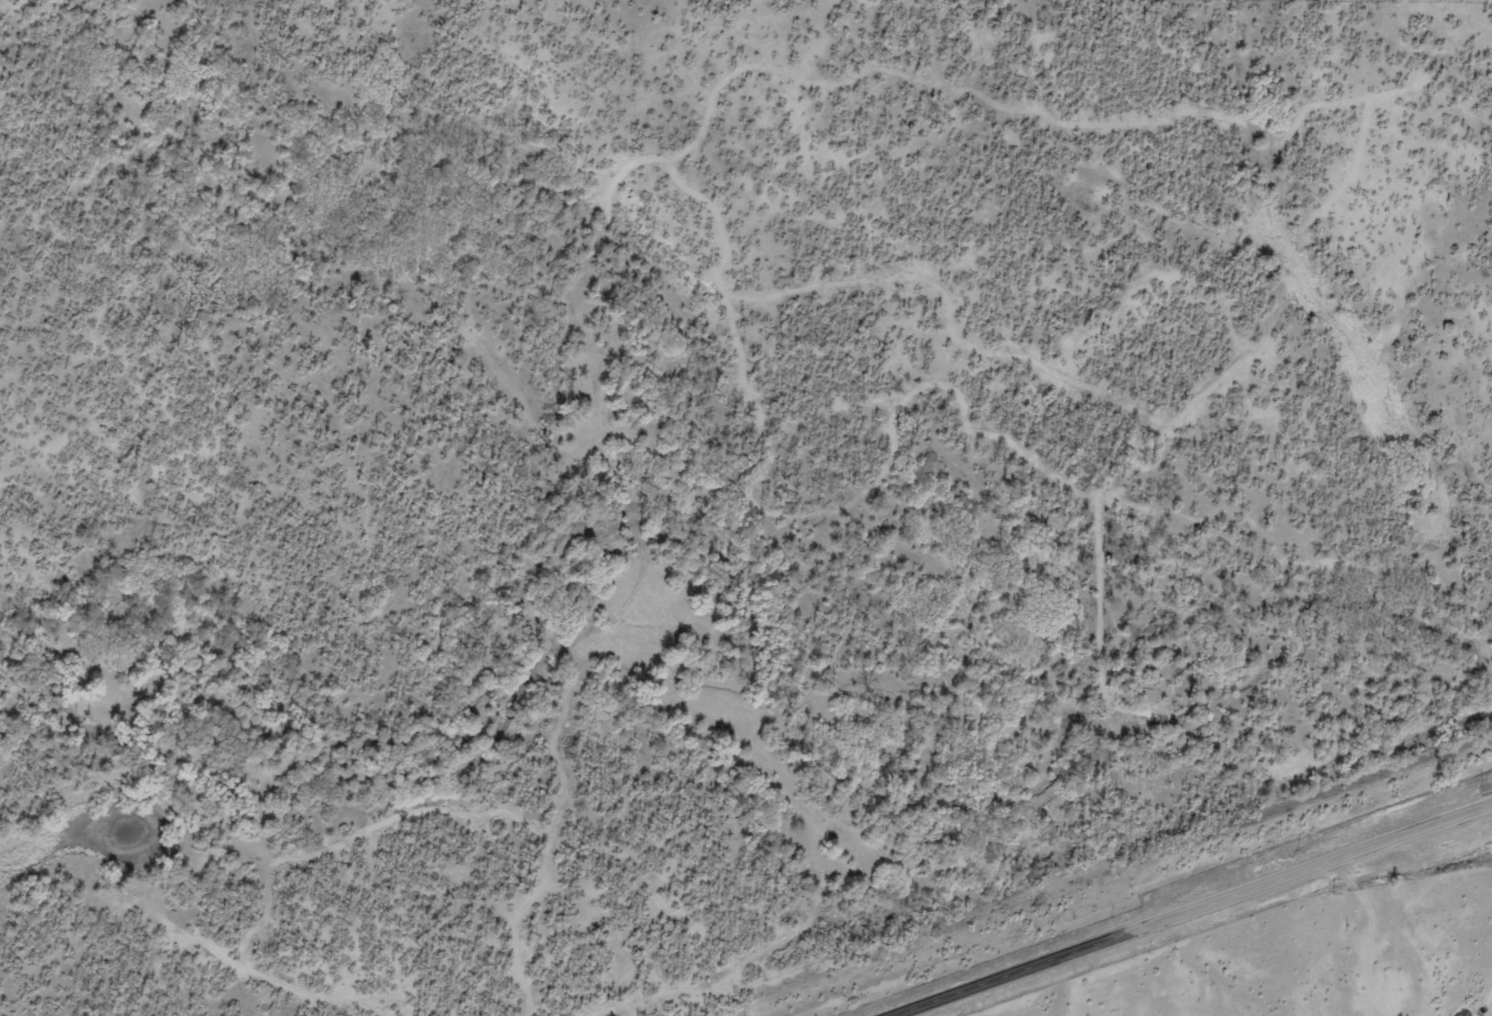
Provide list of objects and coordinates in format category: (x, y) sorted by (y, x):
road: (1259, 9)
railway: (1110, 882)
road: (1199, 912)

